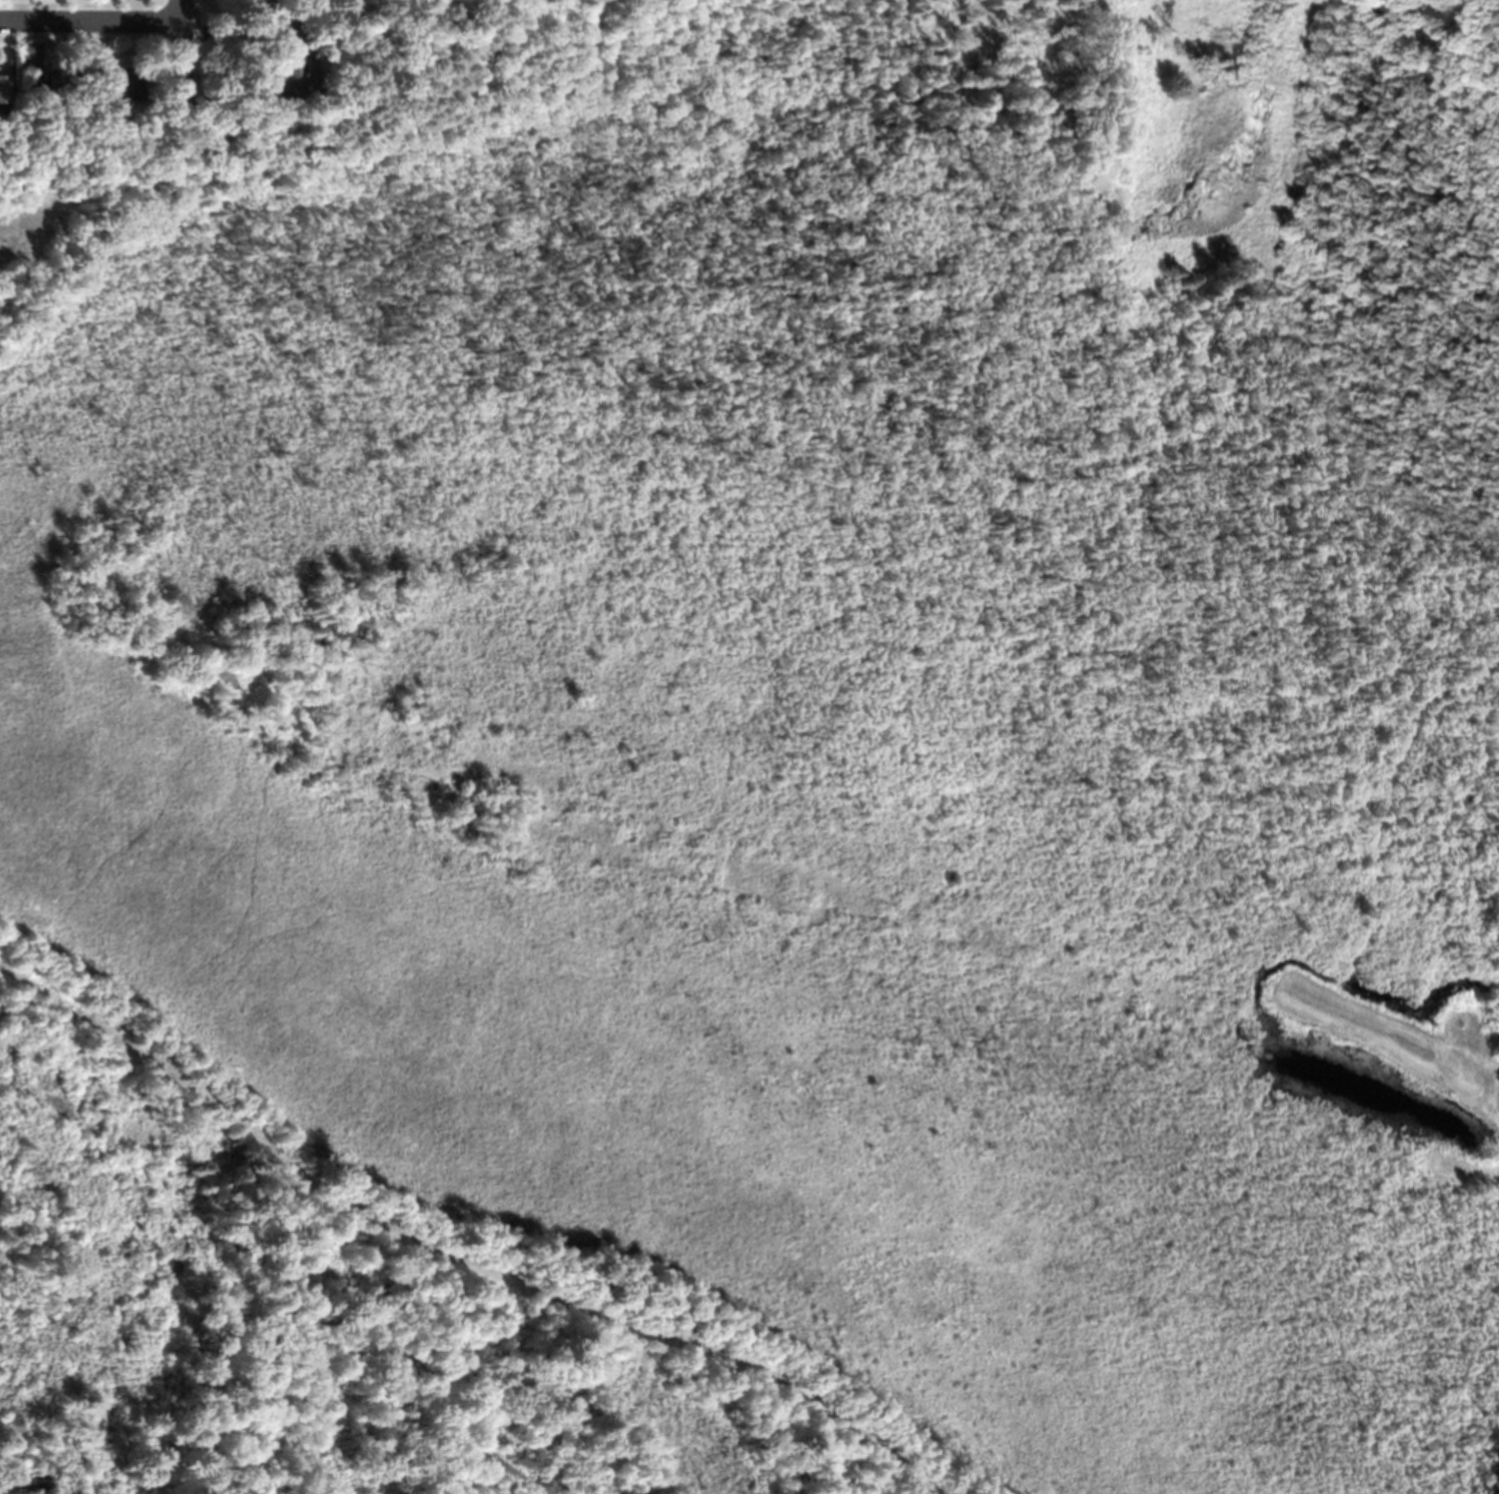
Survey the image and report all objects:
road: (91, 21)
road: (183, 37)
building: (289, 73)
building: (2, 87)
building: (116, 91)
building: (1281, 245)

